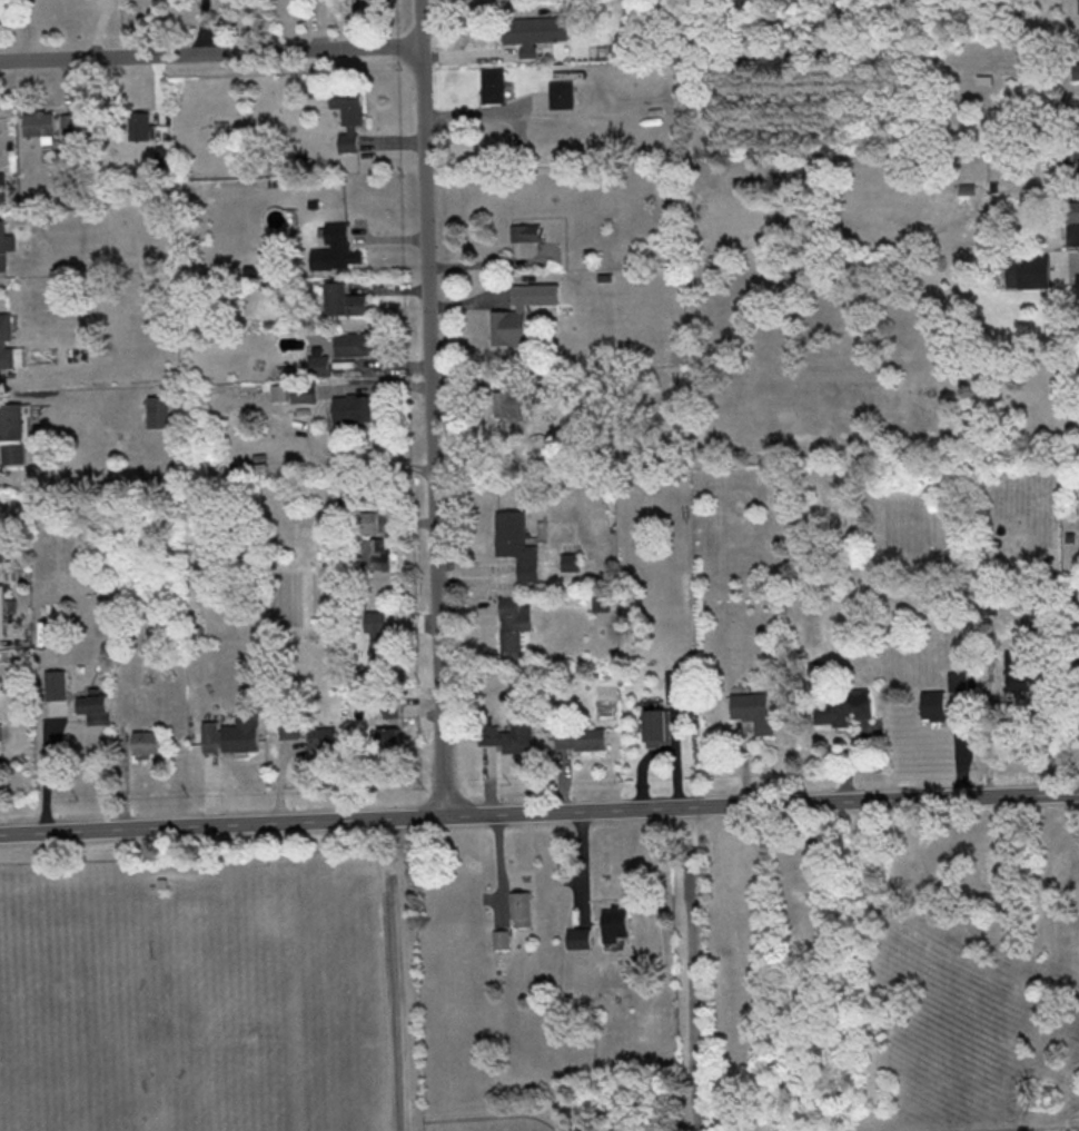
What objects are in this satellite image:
road: (205, 27)
building: (533, 32)
road: (210, 53)
building: (1075, 70)
building: (493, 85)
building: (561, 95)
building: (71, 123)
building: (40, 125)
building: (139, 125)
building: (968, 188)
building: (1075, 210)
building: (525, 232)
building: (4, 247)
building: (334, 249)
building: (1078, 286)
building: (344, 299)
building: (519, 311)
building: (6, 340)
building: (355, 343)
building: (318, 365)
building: (304, 393)
building: (505, 404)
road: (432, 407)
building: (350, 408)
building: (159, 411)
building: (13, 431)
building: (373, 522)
building: (0, 536)
building: (516, 543)
building: (375, 554)
building: (571, 562)
building: (600, 601)
building: (4, 607)
building: (514, 625)
building: (378, 639)
building: (1018, 668)
building: (55, 683)
building: (672, 684)
building: (946, 698)
building: (847, 707)
building: (93, 708)
building: (753, 710)
road: (1051, 716)
building: (657, 726)
building: (289, 727)
building: (231, 734)
building: (392, 735)
building: (511, 735)
building: (321, 737)
building: (581, 738)
building: (146, 742)
building: (0, 743)
road: (538, 811)
building: (522, 909)
building: (615, 923)
building: (502, 937)
building: (578, 937)
road: (694, 968)
road: (395, 973)
park: (273, 991)

